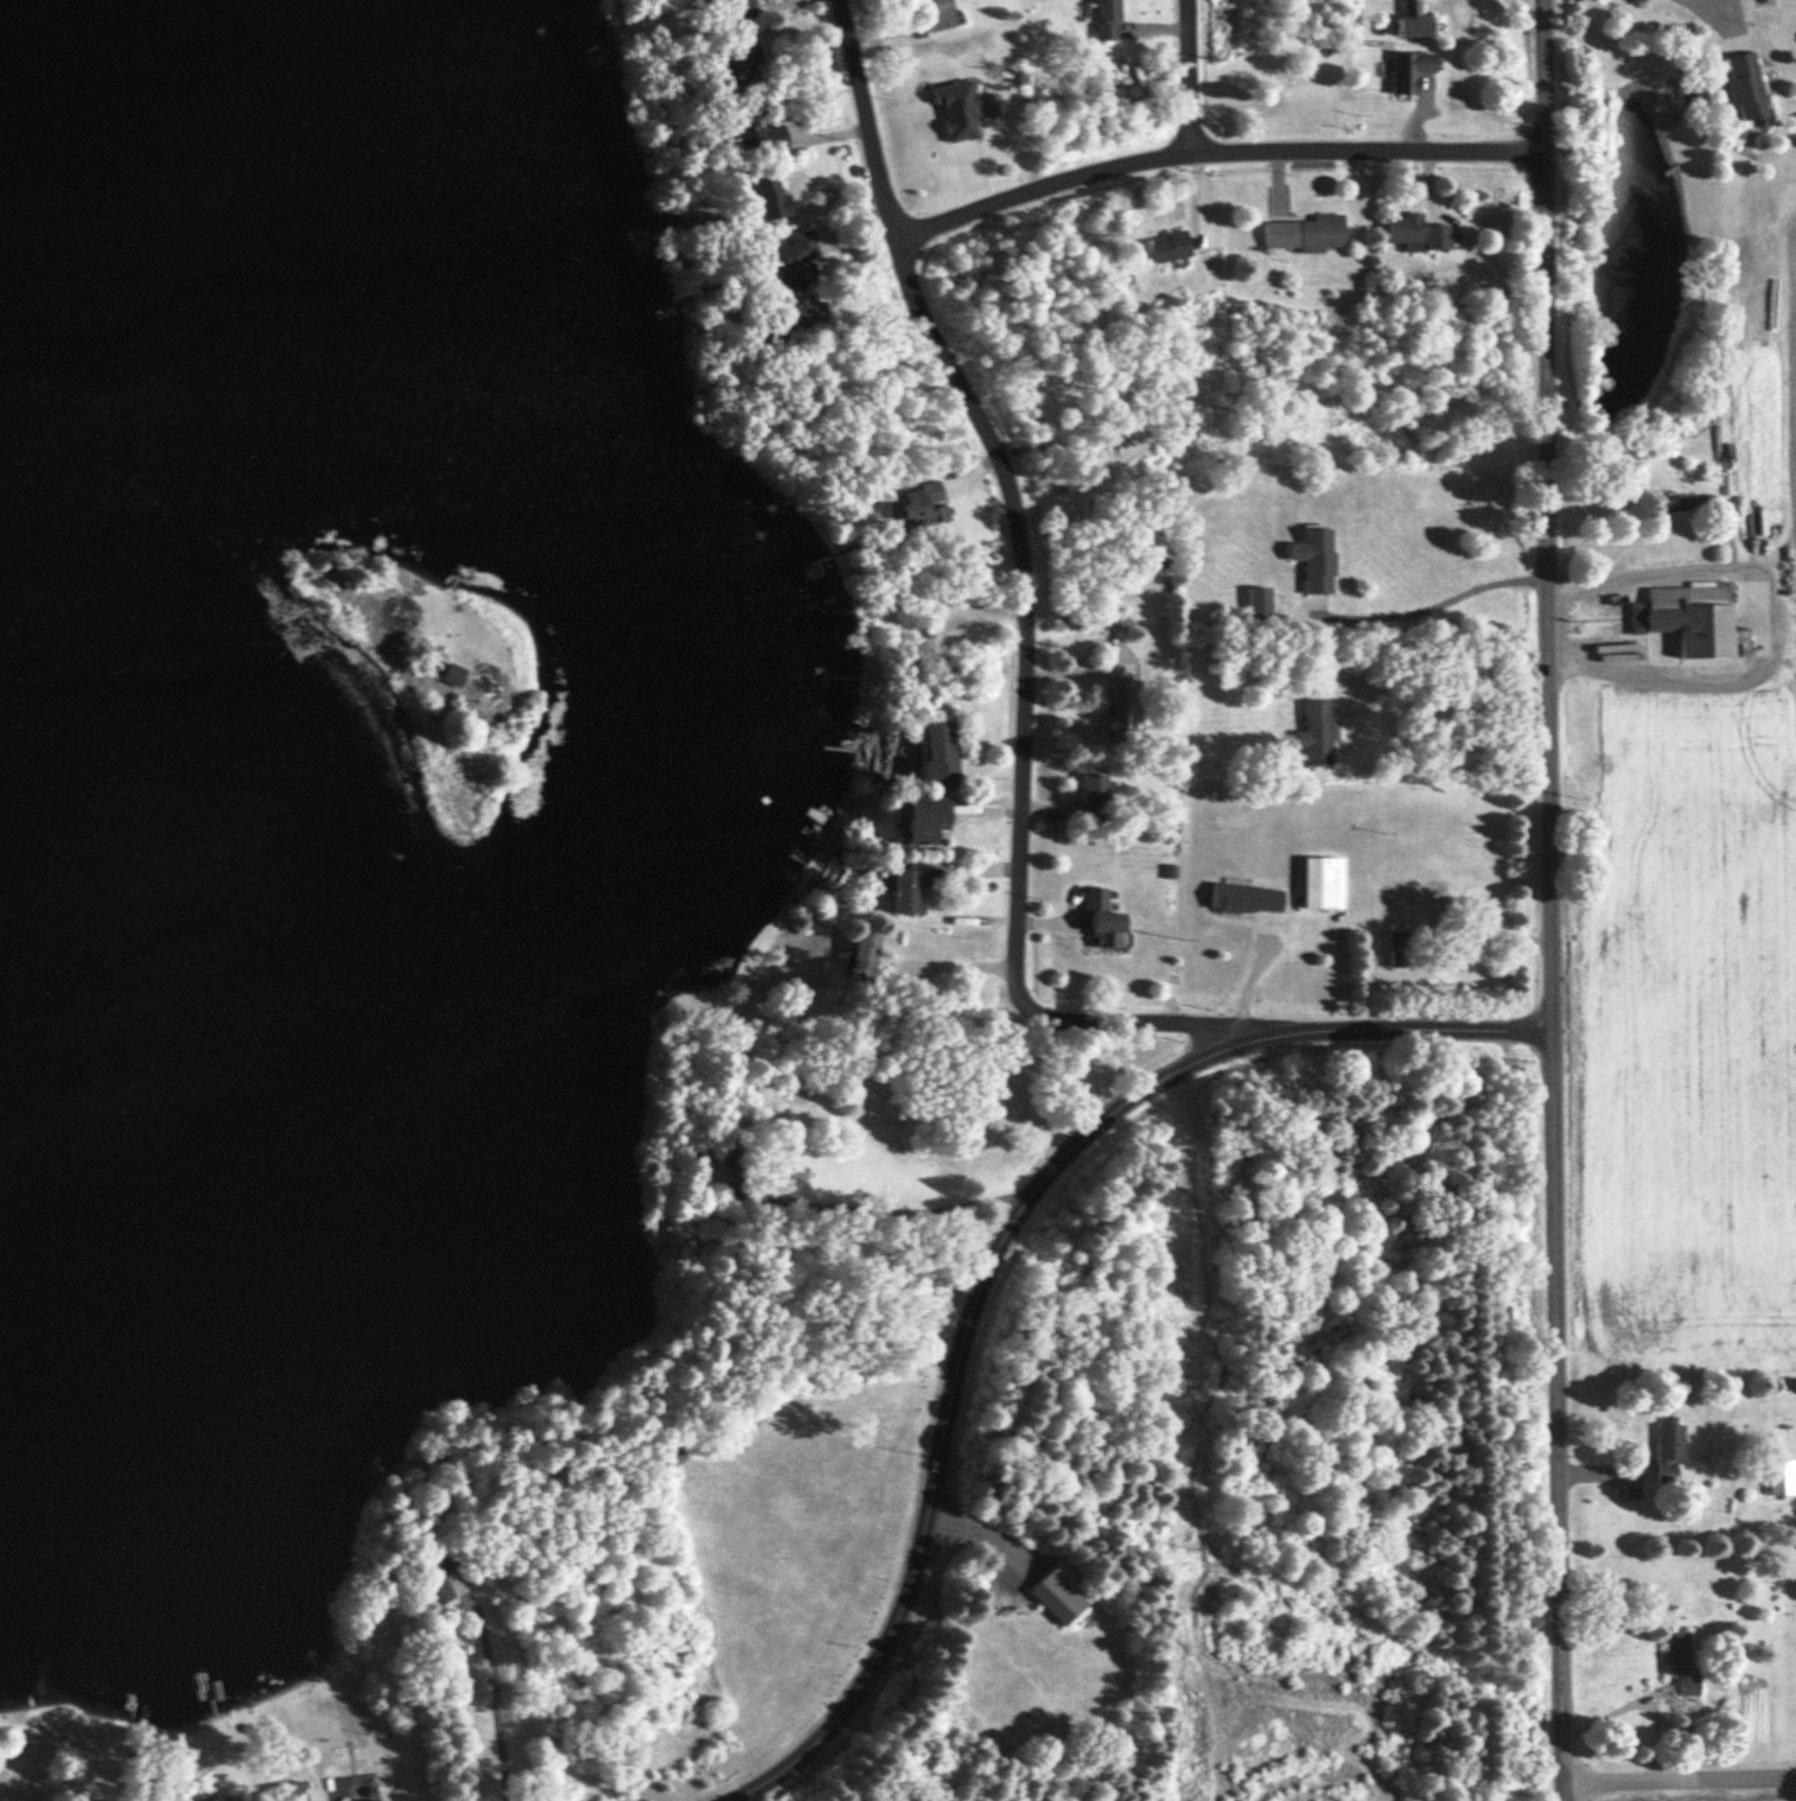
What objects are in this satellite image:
building: (739, 9)
road: (1708, 11)
building: (937, 13)
building: (1414, 18)
building: (1106, 19)
building: (739, 61)
building: (1409, 70)
road: (1189, 71)
building: (1744, 85)
building: (757, 131)
road: (1208, 144)
building: (768, 193)
building: (1304, 233)
building: (1416, 233)
building: (1167, 247)
building: (794, 261)
building: (795, 317)
building: (1681, 503)
building: (918, 504)
building: (1314, 559)
building: (1259, 604)
road: (1426, 610)
building: (1688, 617)
road: (1020, 626)
road: (1773, 626)
road: (1445, 670)
building: (451, 673)
building: (1122, 706)
building: (1316, 732)
building: (935, 750)
building: (1093, 796)
building: (924, 820)
building: (1323, 883)
building: (906, 889)
building: (1246, 898)
road: (1545, 900)
building: (1416, 918)
building: (1102, 922)
road: (1265, 927)
building: (866, 959)
road: (1249, 978)
road: (874, 1013)
road: (890, 1208)
road: (991, 1246)
building: (1667, 1450)
building: (1779, 1478)
road: (981, 1529)
building: (433, 1574)
building: (1062, 1592)
building: (1679, 1661)
road: (492, 1686)
road: (1676, 1780)
building: (288, 1795)
building: (217, 1797)
building: (378, 1800)

